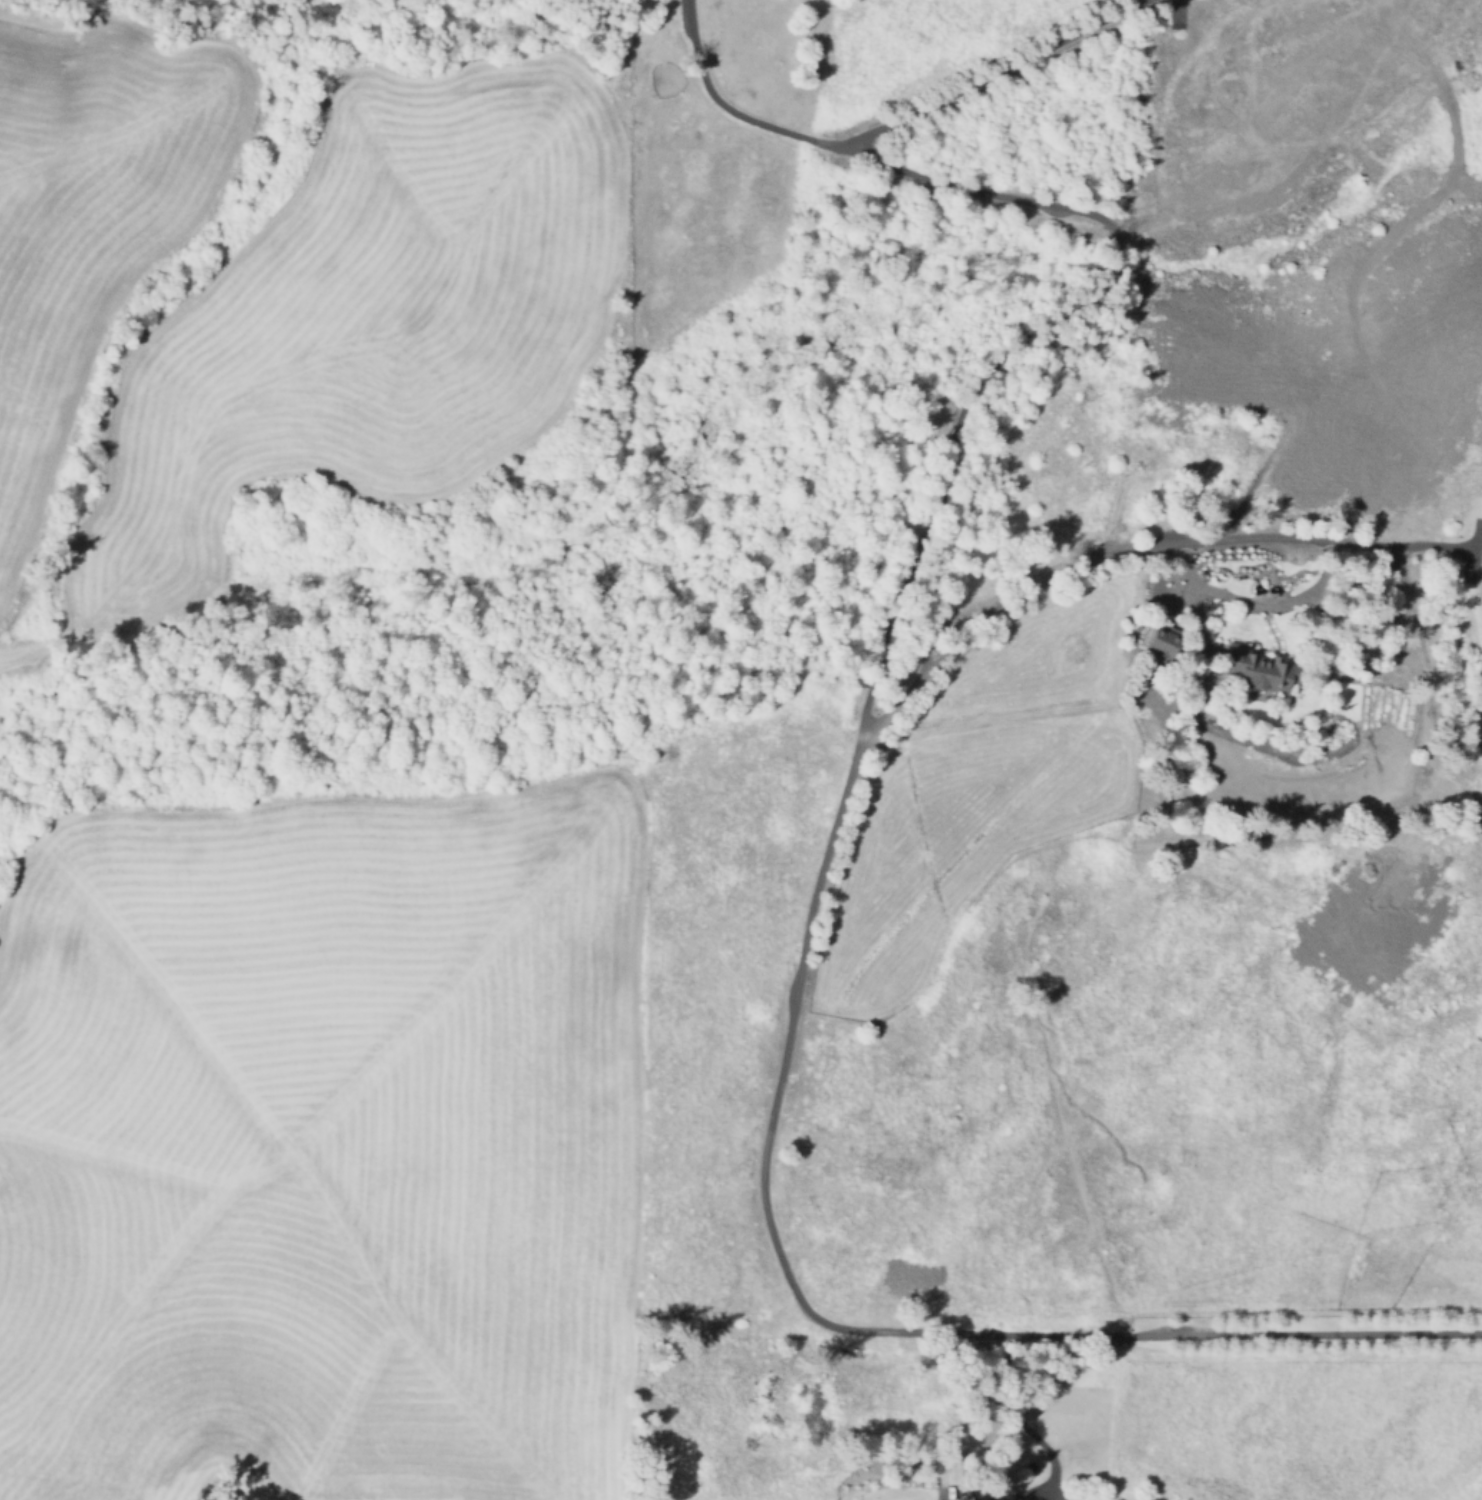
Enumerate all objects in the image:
road: (735, 113)
crop: (286, 290)
road: (1474, 543)
road: (1130, 555)
road: (1258, 603)
building: (1164, 641)
building: (1260, 669)
road: (852, 769)
crop: (322, 1144)
road: (1012, 1414)

